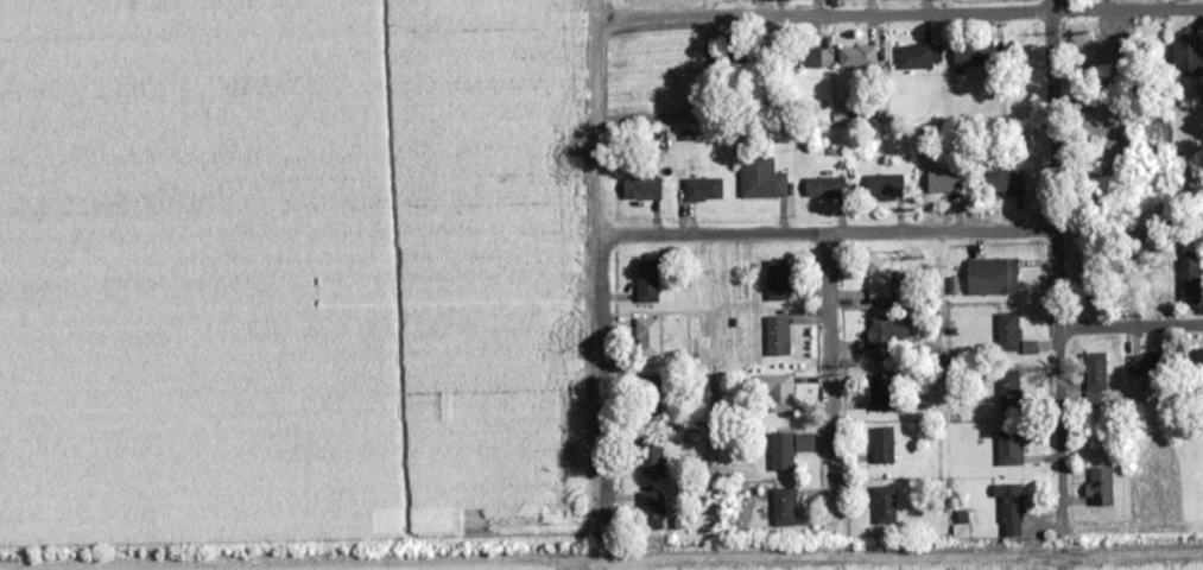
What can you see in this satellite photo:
road: (899, 13)
building: (973, 55)
building: (802, 57)
building: (857, 57)
building: (918, 57)
building: (1188, 57)
building: (760, 179)
building: (944, 182)
building: (1003, 182)
building: (885, 186)
building: (641, 188)
building: (824, 188)
building: (703, 189)
road: (829, 236)
road: (602, 261)
building: (990, 277)
building: (879, 278)
road: (1057, 278)
building: (777, 280)
building: (1087, 280)
building: (1189, 280)
building: (646, 281)
building: (1158, 284)
road: (1129, 324)
building: (1007, 331)
building: (778, 335)
building: (884, 335)
building: (647, 336)
building: (1196, 361)
building: (1151, 363)
building: (1094, 375)
building: (1008, 388)
building: (882, 392)
building: (779, 393)
building: (650, 394)
road: (831, 398)
building: (882, 444)
building: (1008, 448)
building: (783, 452)
building: (651, 454)
building: (1100, 486)
building: (884, 505)
building: (783, 507)
building: (1011, 508)
building: (650, 511)
road: (618, 564)
road: (597, 566)

